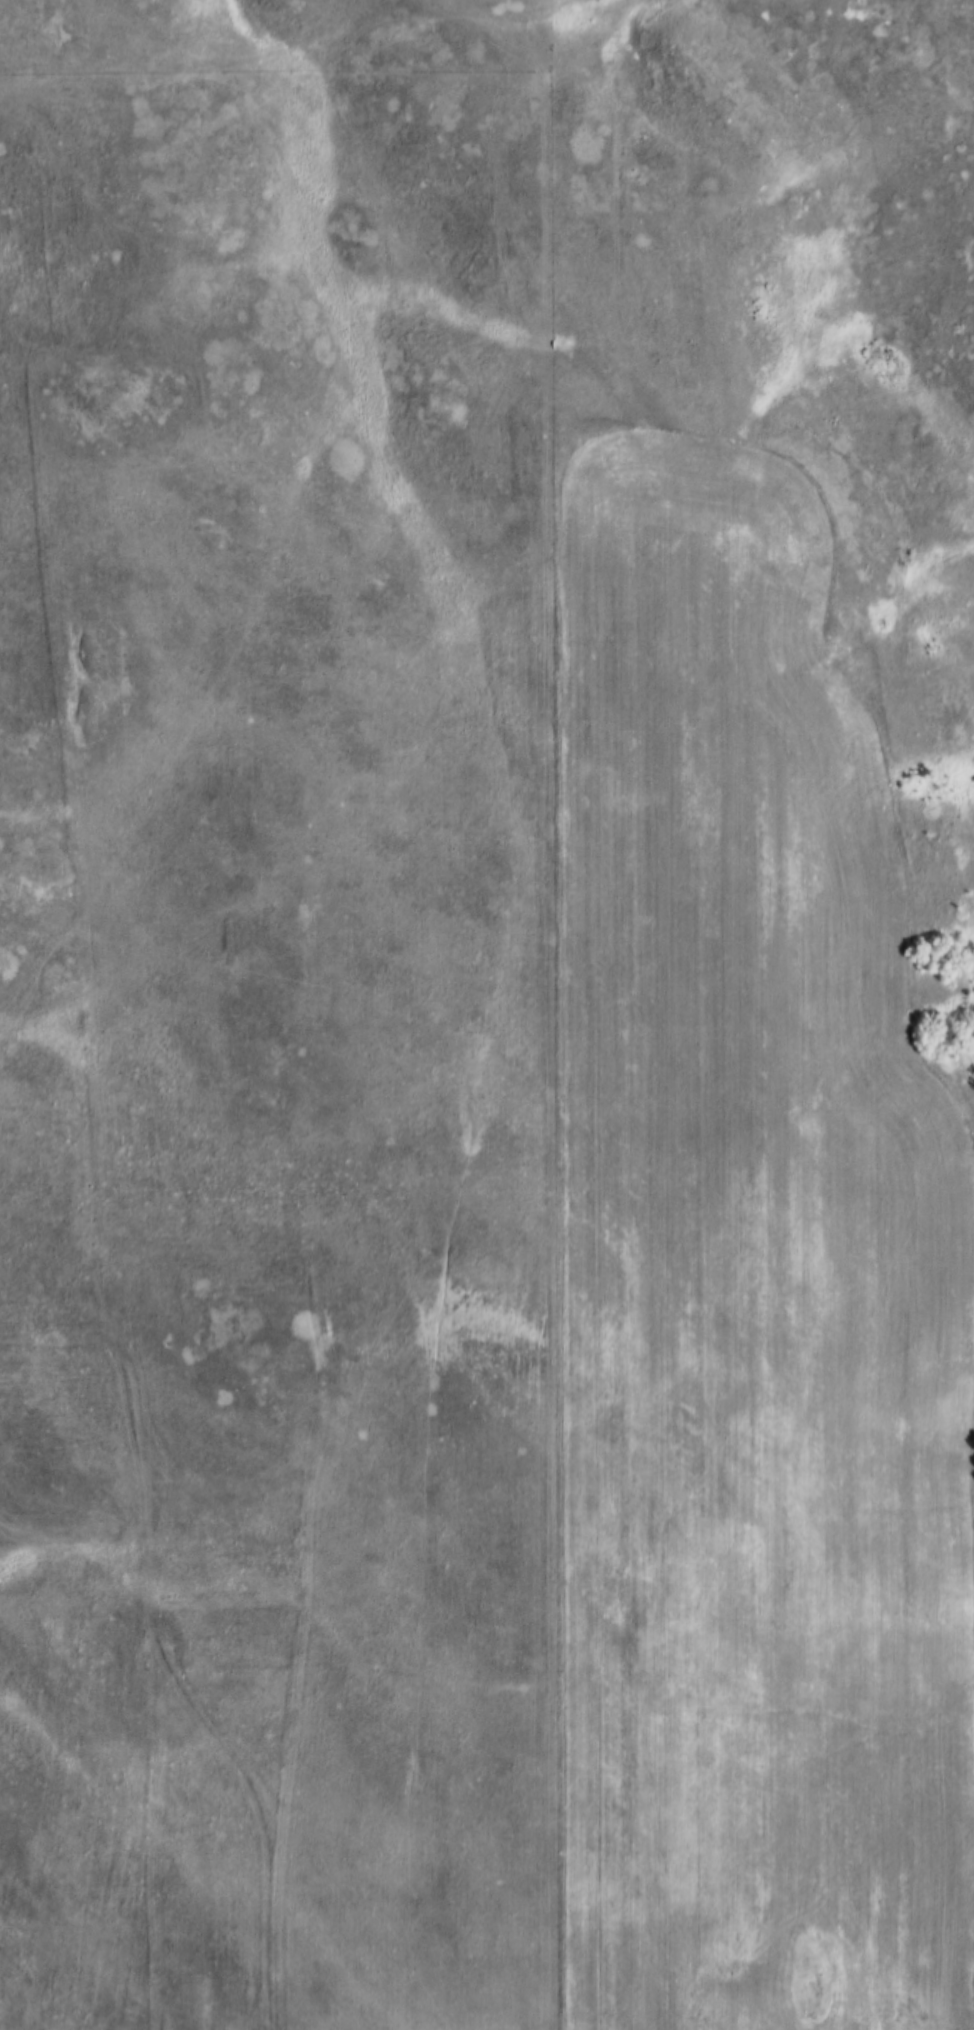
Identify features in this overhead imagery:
road: (621, 213)

